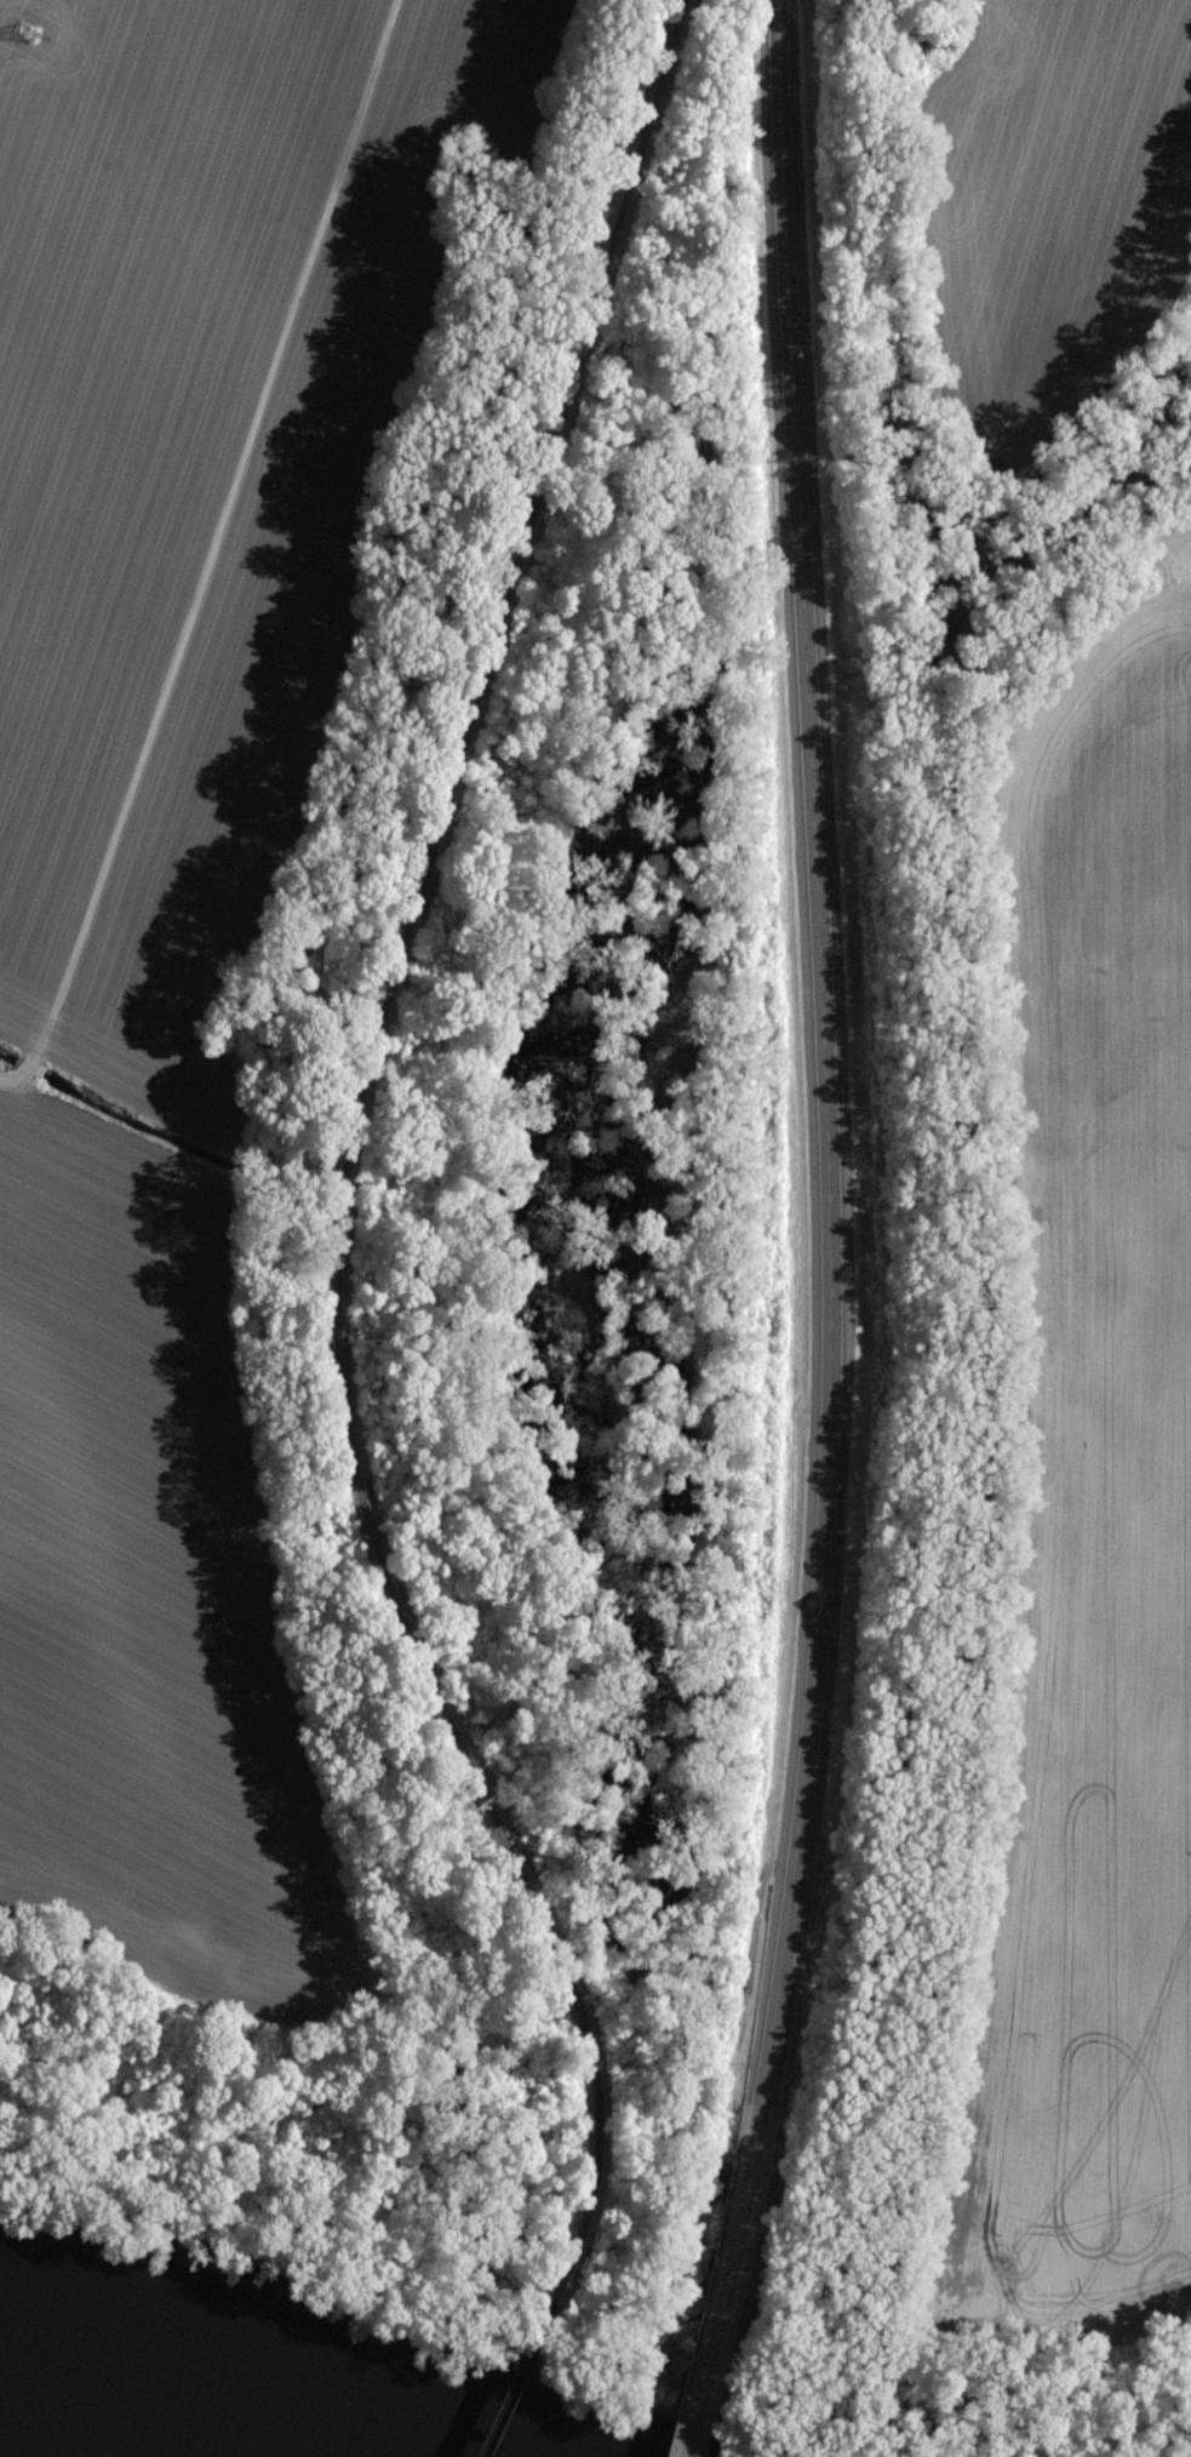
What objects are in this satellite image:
power tower: (30, 44)
road: (213, 543)
road: (829, 1040)
road: (10, 1084)
railway: (354, 1159)
road: (727, 2268)
railway: (517, 2382)
river: (142, 2406)

